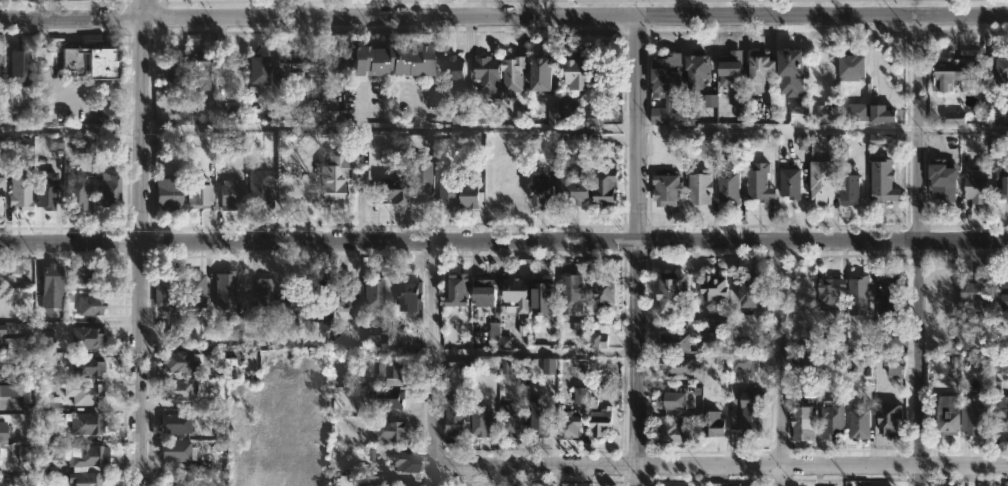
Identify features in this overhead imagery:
road: (162, 0)
road: (163, 0)
road: (323, 1)
park: (568, 2)
road: (481, 8)
road: (50, 9)
road: (503, 17)
road: (332, 55)
building: (398, 58)
building: (91, 62)
building: (0, 67)
building: (849, 67)
building: (729, 68)
building: (20, 69)
building: (260, 69)
building: (758, 69)
building: (457, 70)
building: (1001, 70)
building: (200, 72)
building: (290, 72)
building: (573, 72)
building: (791, 72)
building: (958, 72)
building: (489, 74)
building: (515, 74)
building: (169, 75)
building: (546, 75)
building: (664, 75)
building: (695, 79)
building: (317, 80)
building: (711, 100)
building: (740, 102)
building: (798, 105)
road: (360, 107)
road: (415, 108)
building: (858, 111)
building: (227, 112)
building: (825, 112)
building: (107, 113)
building: (878, 113)
building: (460, 115)
building: (554, 115)
building: (324, 117)
building: (522, 117)
building: (588, 117)
building: (955, 118)
road: (388, 127)
road: (778, 127)
road: (70, 128)
road: (963, 128)
building: (875, 139)
building: (363, 140)
building: (709, 141)
building: (802, 141)
building: (2, 142)
building: (55, 142)
building: (82, 143)
building: (1001, 177)
building: (941, 178)
building: (882, 179)
building: (334, 180)
building: (821, 180)
building: (758, 181)
building: (792, 182)
building: (979, 182)
building: (412, 183)
building: (448, 186)
building: (607, 186)
building: (699, 187)
building: (727, 187)
building: (577, 188)
building: (664, 188)
building: (847, 188)
building: (46, 189)
building: (110, 189)
building: (1, 190)
building: (76, 190)
building: (22, 191)
building: (199, 191)
building: (471, 191)
building: (170, 193)
building: (545, 194)
building: (235, 195)
road: (139, 242)
road: (504, 242)
road: (918, 250)
road: (637, 251)
building: (0, 266)
building: (11, 266)
building: (87, 274)
building: (322, 278)
building: (52, 279)
building: (460, 288)
building: (712, 288)
building: (195, 289)
building: (347, 290)
building: (488, 290)
building: (746, 290)
building: (827, 290)
building: (225, 291)
building: (671, 291)
building: (574, 292)
building: (409, 293)
building: (520, 293)
building: (605, 293)
building: (261, 295)
building: (975, 295)
building: (379, 296)
building: (543, 296)
building: (1005, 296)
building: (858, 297)
building: (888, 298)
building: (91, 304)
building: (168, 304)
building: (286, 311)
building: (321, 319)
building: (707, 323)
building: (1, 328)
building: (503, 334)
building: (89, 338)
building: (405, 338)
building: (379, 339)
building: (599, 341)
building: (679, 342)
building: (47, 343)
building: (889, 343)
building: (1, 351)
road: (536, 352)
building: (239, 354)
building: (838, 357)
building: (47, 362)
building: (182, 362)
building: (745, 362)
road: (434, 363)
building: (1001, 363)
building: (807, 364)
building: (550, 365)
road: (782, 365)
building: (87, 366)
building: (682, 366)
building: (394, 370)
building: (896, 371)
building: (176, 389)
building: (810, 390)
building: (85, 392)
building: (18, 393)
building: (581, 394)
building: (390, 397)
building: (672, 399)
building: (1000, 407)
building: (750, 413)
building: (947, 415)
building: (457, 417)
building: (542, 418)
building: (980, 418)
building: (887, 419)
building: (482, 420)
building: (512, 420)
building: (604, 420)
building: (831, 420)
building: (85, 422)
building: (177, 422)
building: (571, 423)
building: (714, 423)
building: (801, 423)
building: (858, 423)
building: (391, 429)
building: (2, 431)
building: (674, 432)
building: (176, 450)
building: (2, 452)
building: (25, 452)
building: (83, 455)
building: (406, 462)
road: (720, 466)
building: (85, 478)
building: (7, 480)
building: (397, 485)
building: (951, 485)

